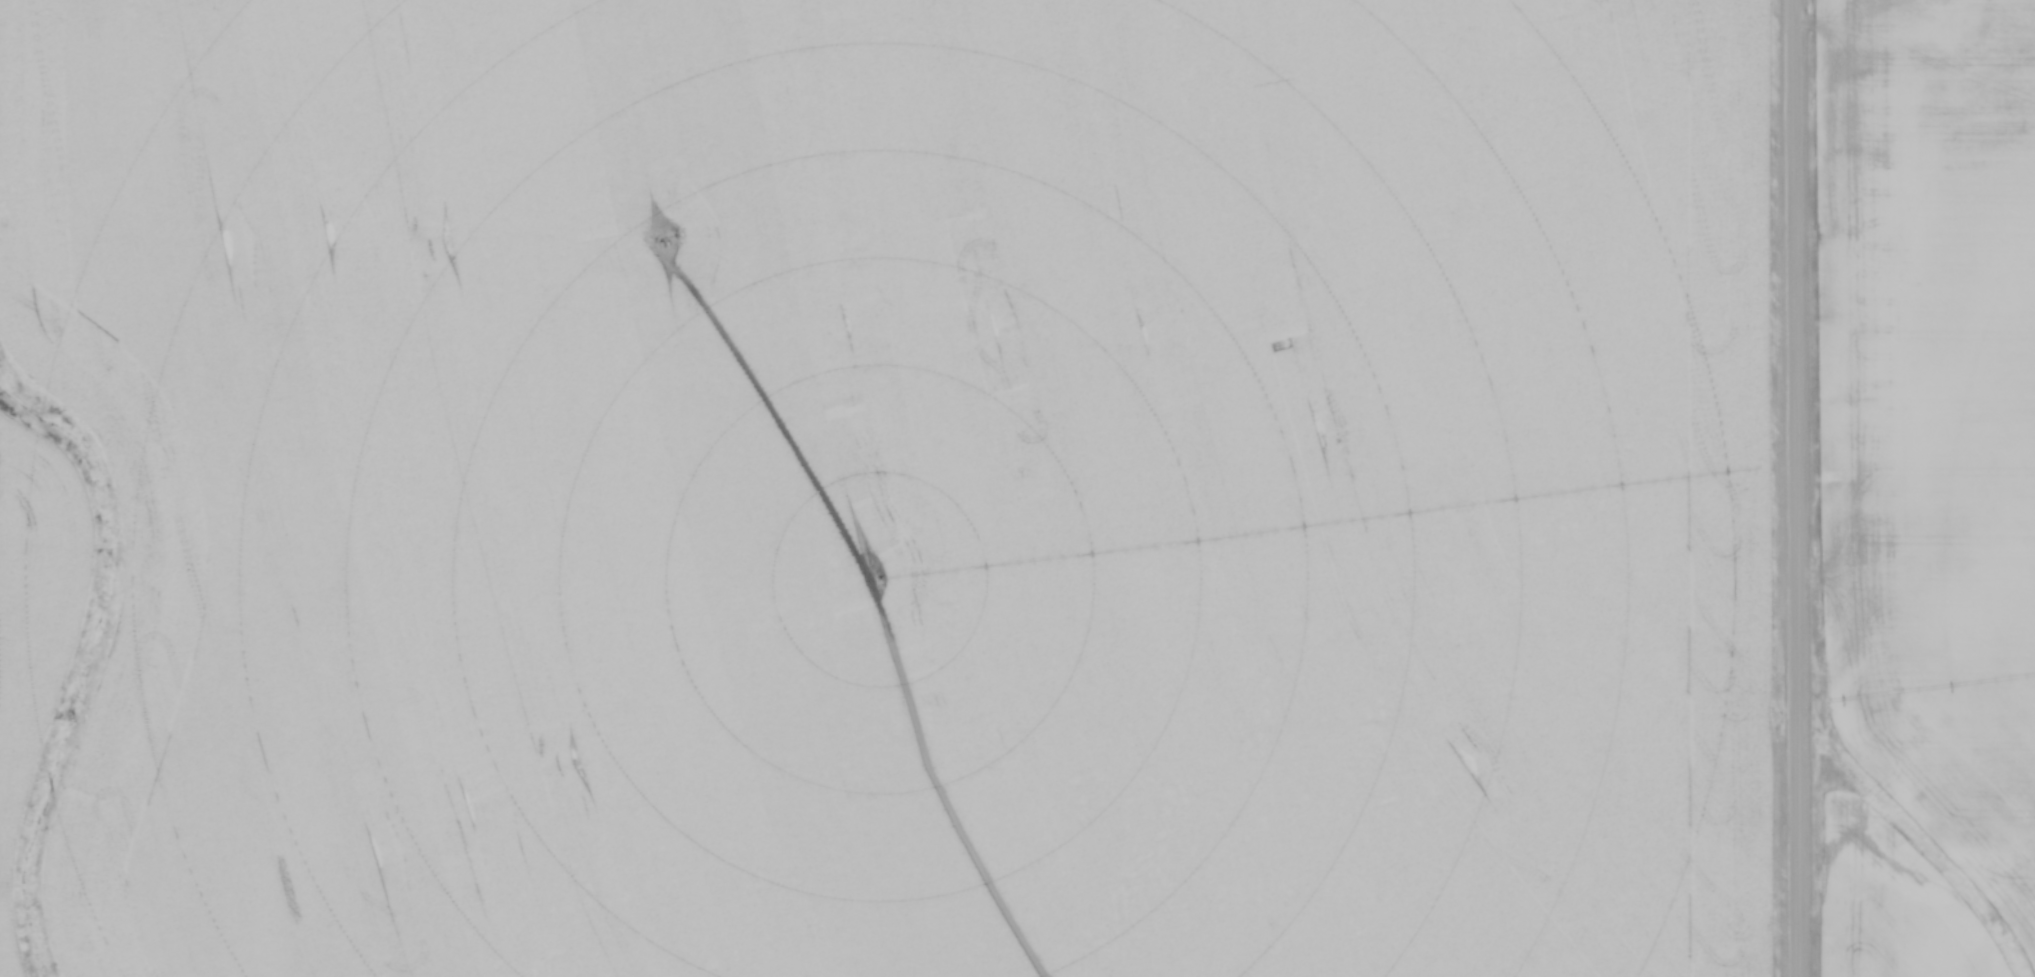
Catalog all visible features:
road: (1794, 488)

